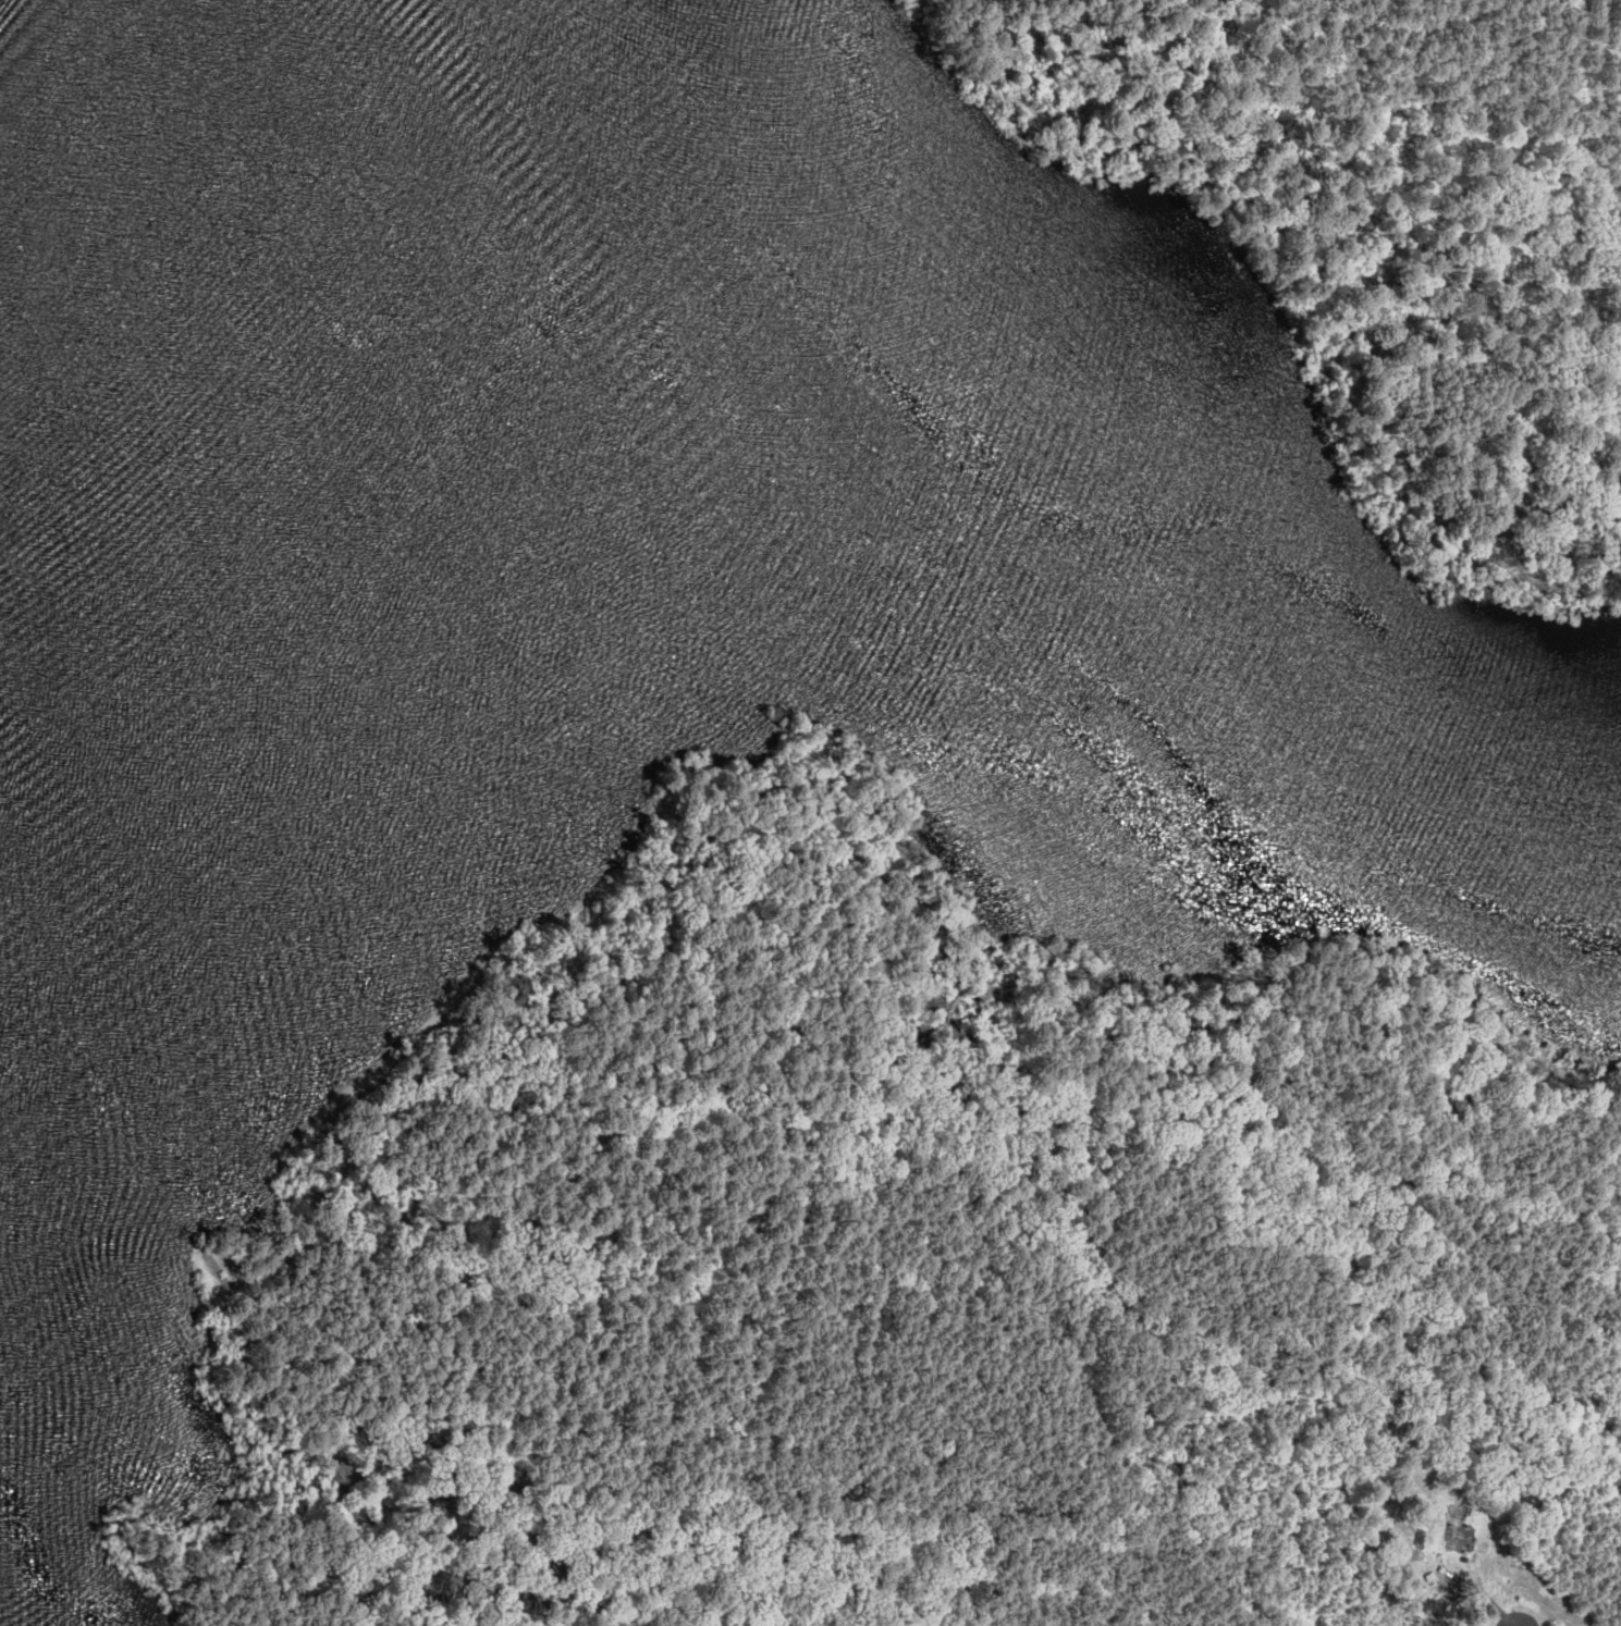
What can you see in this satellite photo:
building: (1459, 1530)
road: (1515, 1617)

